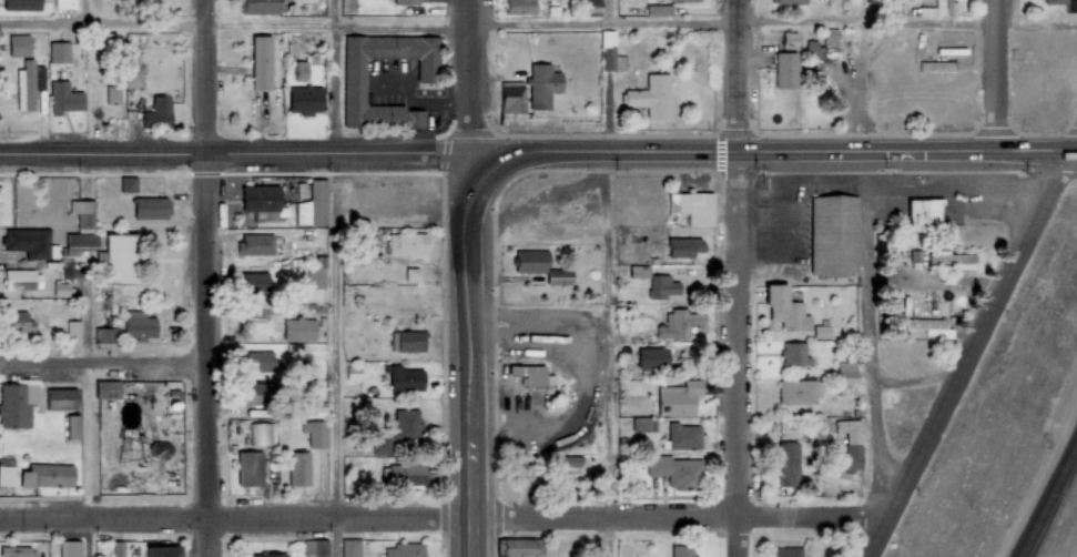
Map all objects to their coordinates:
building: (404, 1)
building: (687, 1)
building: (790, 2)
building: (63, 3)
building: (20, 4)
building: (590, 4)
building: (1064, 4)
building: (345, 6)
building: (519, 6)
building: (262, 7)
building: (944, 8)
building: (660, 11)
road: (499, 28)
building: (790, 41)
building: (17, 43)
building: (824, 48)
building: (57, 51)
building: (611, 54)
building: (262, 64)
building: (302, 72)
building: (785, 72)
road: (202, 75)
road: (89, 77)
road: (741, 77)
road: (997, 78)
building: (134, 79)
building: (27, 82)
building: (539, 87)
building: (353, 92)
building: (62, 95)
building: (649, 95)
building: (113, 97)
building: (510, 97)
building: (306, 101)
road: (464, 103)
building: (159, 114)
road: (1073, 148)
road: (268, 151)
road: (807, 155)
building: (126, 182)
building: (83, 184)
building: (262, 203)
building: (314, 205)
building: (149, 206)
building: (694, 207)
building: (83, 213)
building: (925, 214)
building: (831, 233)
building: (27, 241)
building: (79, 241)
building: (408, 242)
building: (256, 245)
building: (685, 247)
building: (120, 256)
road: (863, 260)
building: (953, 260)
building: (529, 261)
building: (640, 272)
building: (410, 274)
building: (19, 277)
road: (332, 277)
building: (560, 277)
road: (614, 277)
building: (316, 278)
building: (257, 284)
building: (662, 287)
building: (59, 288)
building: (786, 310)
building: (16, 318)
building: (138, 322)
building: (680, 325)
building: (931, 327)
building: (301, 330)
building: (70, 331)
building: (822, 332)
building: (103, 334)
road: (468, 335)
building: (408, 342)
building: (293, 353)
road: (206, 354)
building: (795, 355)
road: (741, 356)
road: (974, 356)
building: (653, 358)
building: (260, 362)
road: (103, 363)
building: (354, 374)
building: (534, 375)
building: (406, 379)
building: (847, 379)
building: (800, 392)
building: (110, 394)
building: (257, 394)
building: (680, 399)
building: (62, 404)
building: (17, 408)
building: (644, 425)
building: (75, 432)
building: (397, 432)
building: (316, 434)
building: (261, 435)
building: (687, 437)
building: (851, 445)
water tower: (132, 450)
building: (570, 463)
building: (789, 464)
building: (250, 469)
building: (299, 469)
building: (677, 472)
building: (406, 476)
building: (8, 478)
building: (50, 482)
railway: (1047, 497)
road: (235, 518)
road: (683, 521)
road: (84, 537)
building: (116, 547)
building: (313, 547)
building: (349, 547)
building: (68, 548)
building: (520, 548)
building: (404, 549)
building: (14, 550)
building: (163, 550)
building: (683, 551)
building: (788, 553)
building: (267, 554)

